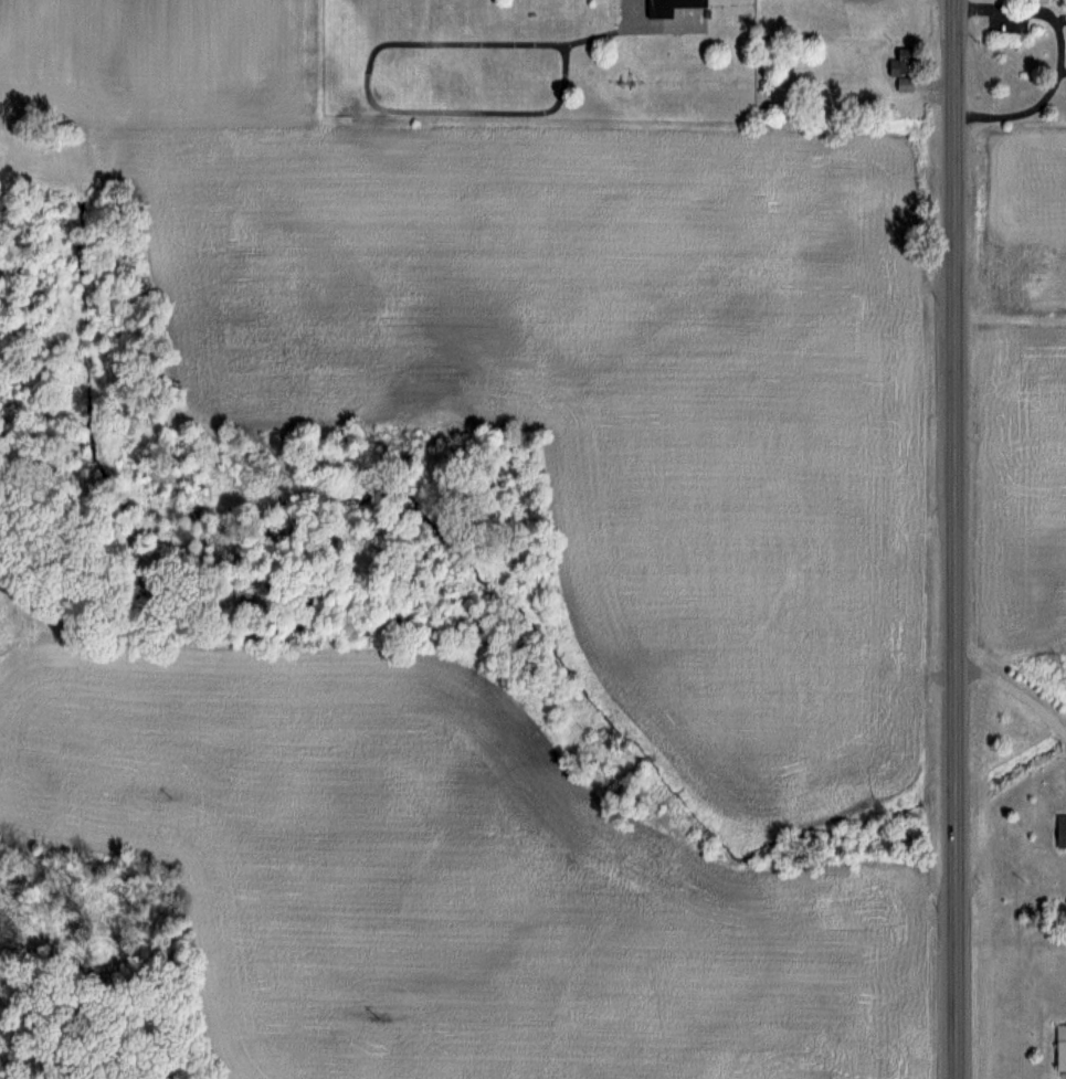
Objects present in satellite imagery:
building: (666, 6)
road: (1057, 54)
building: (901, 67)
road: (957, 539)
road: (1017, 691)
building: (1059, 833)
building: (1060, 1046)

